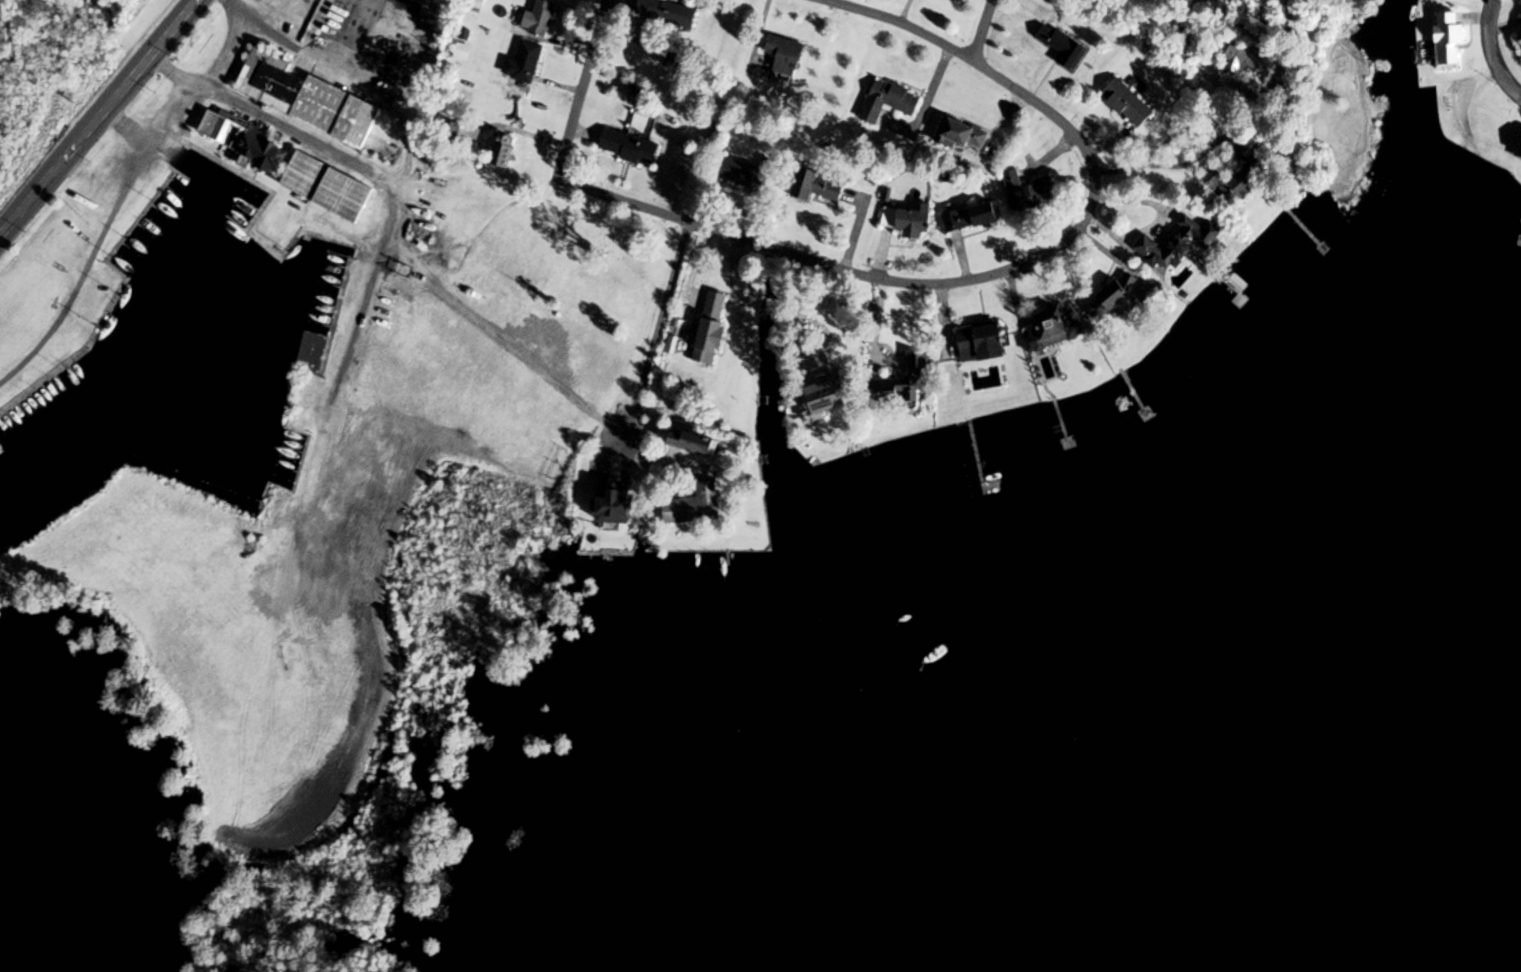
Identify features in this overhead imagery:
building: (964, 0)
building: (477, 5)
building: (668, 12)
building: (540, 18)
road: (983, 29)
building: (1520, 37)
building: (1451, 39)
building: (1063, 46)
road: (1492, 51)
building: (1243, 56)
building: (785, 59)
building: (525, 62)
road: (582, 87)
road: (193, 91)
building: (306, 98)
building: (889, 101)
building: (1128, 103)
road: (99, 119)
building: (963, 135)
building: (244, 140)
building: (629, 147)
building: (503, 151)
building: (747, 172)
building: (1243, 173)
building: (817, 186)
building: (328, 187)
building: (1028, 192)
building: (970, 218)
building: (910, 221)
road: (401, 233)
building: (1172, 245)
road: (87, 265)
road: (1009, 268)
building: (1113, 296)
road: (804, 311)
road: (662, 317)
building: (1058, 327)
building: (711, 328)
building: (981, 344)
building: (312, 354)
building: (901, 381)
building: (828, 395)
building: (691, 445)
building: (615, 504)
building: (694, 507)
river: (1451, 739)

